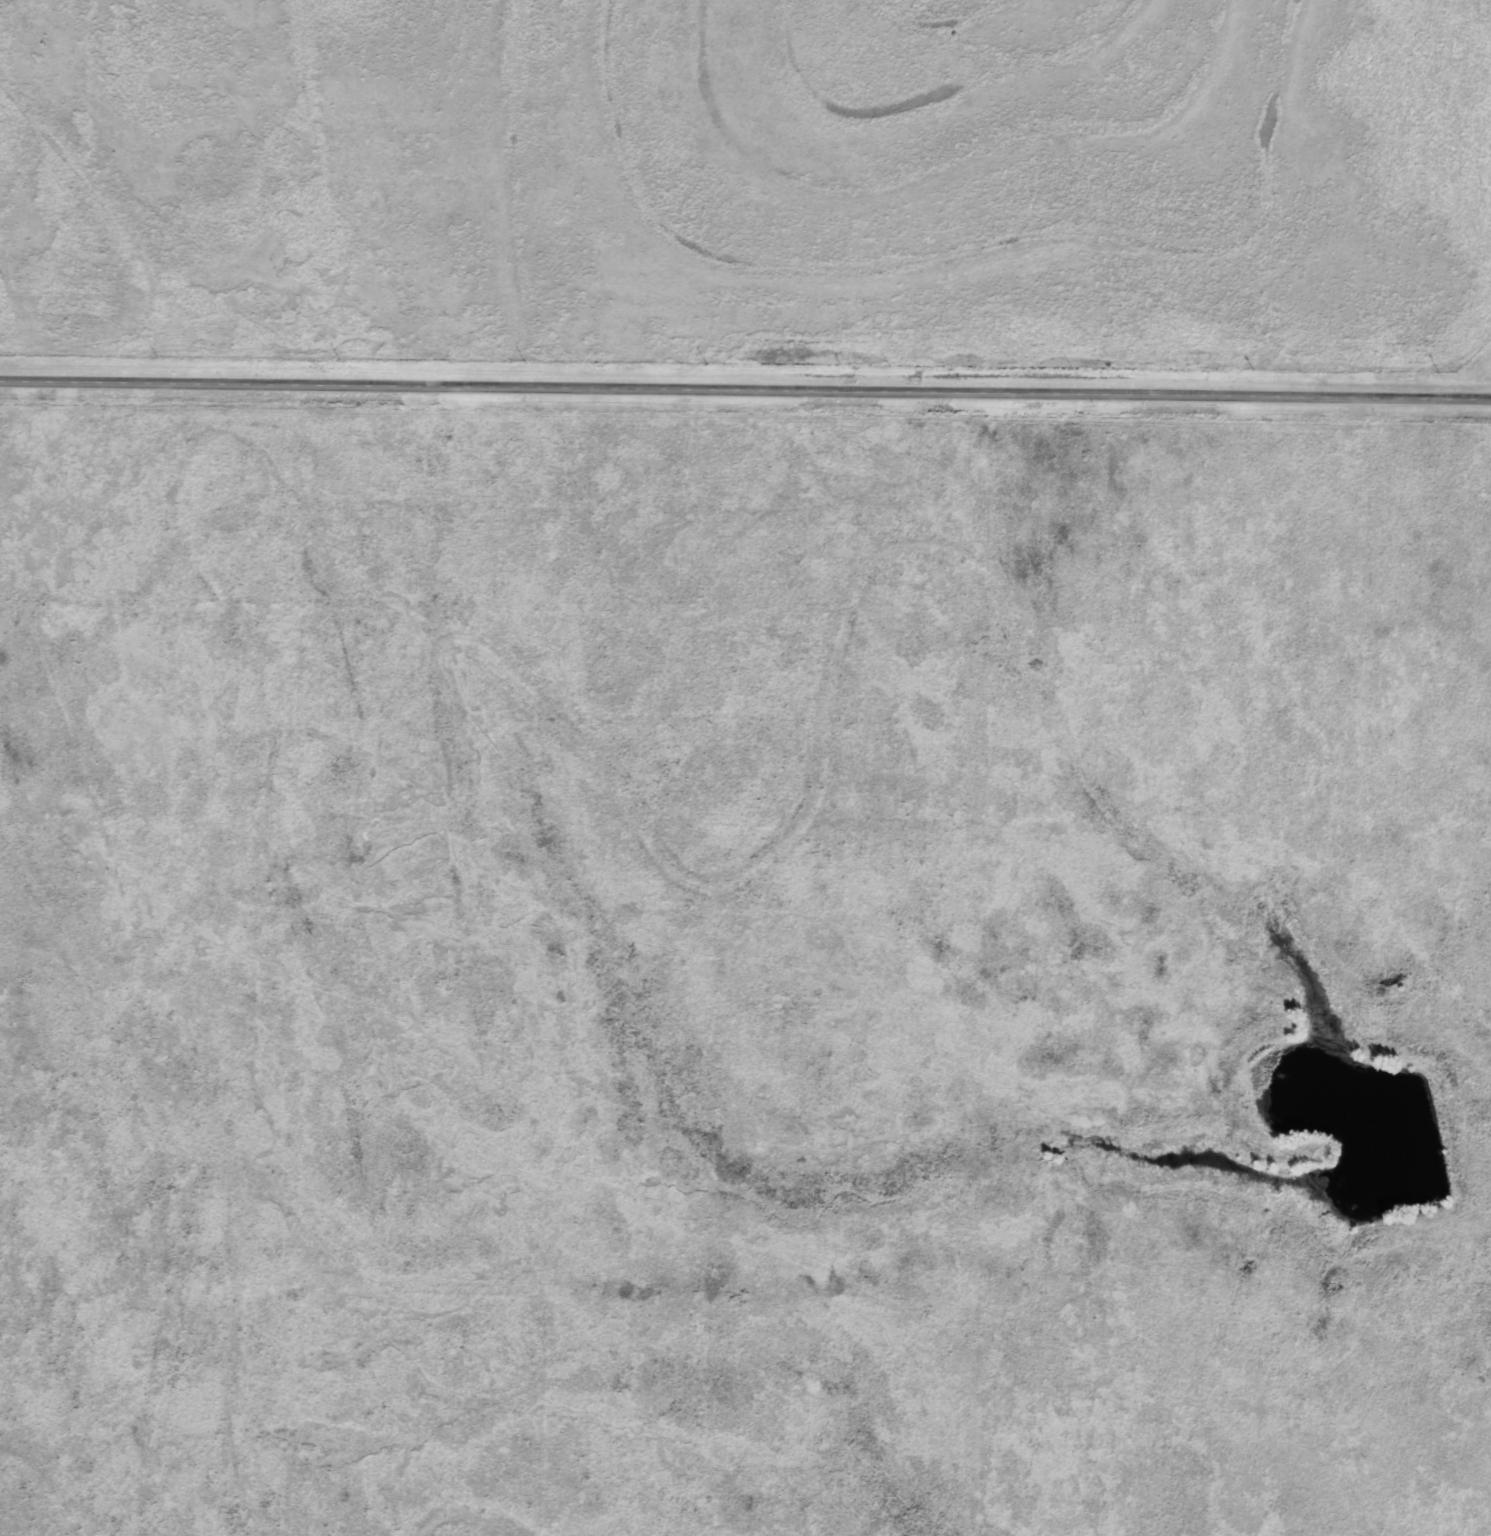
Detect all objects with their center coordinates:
road: (745, 391)

